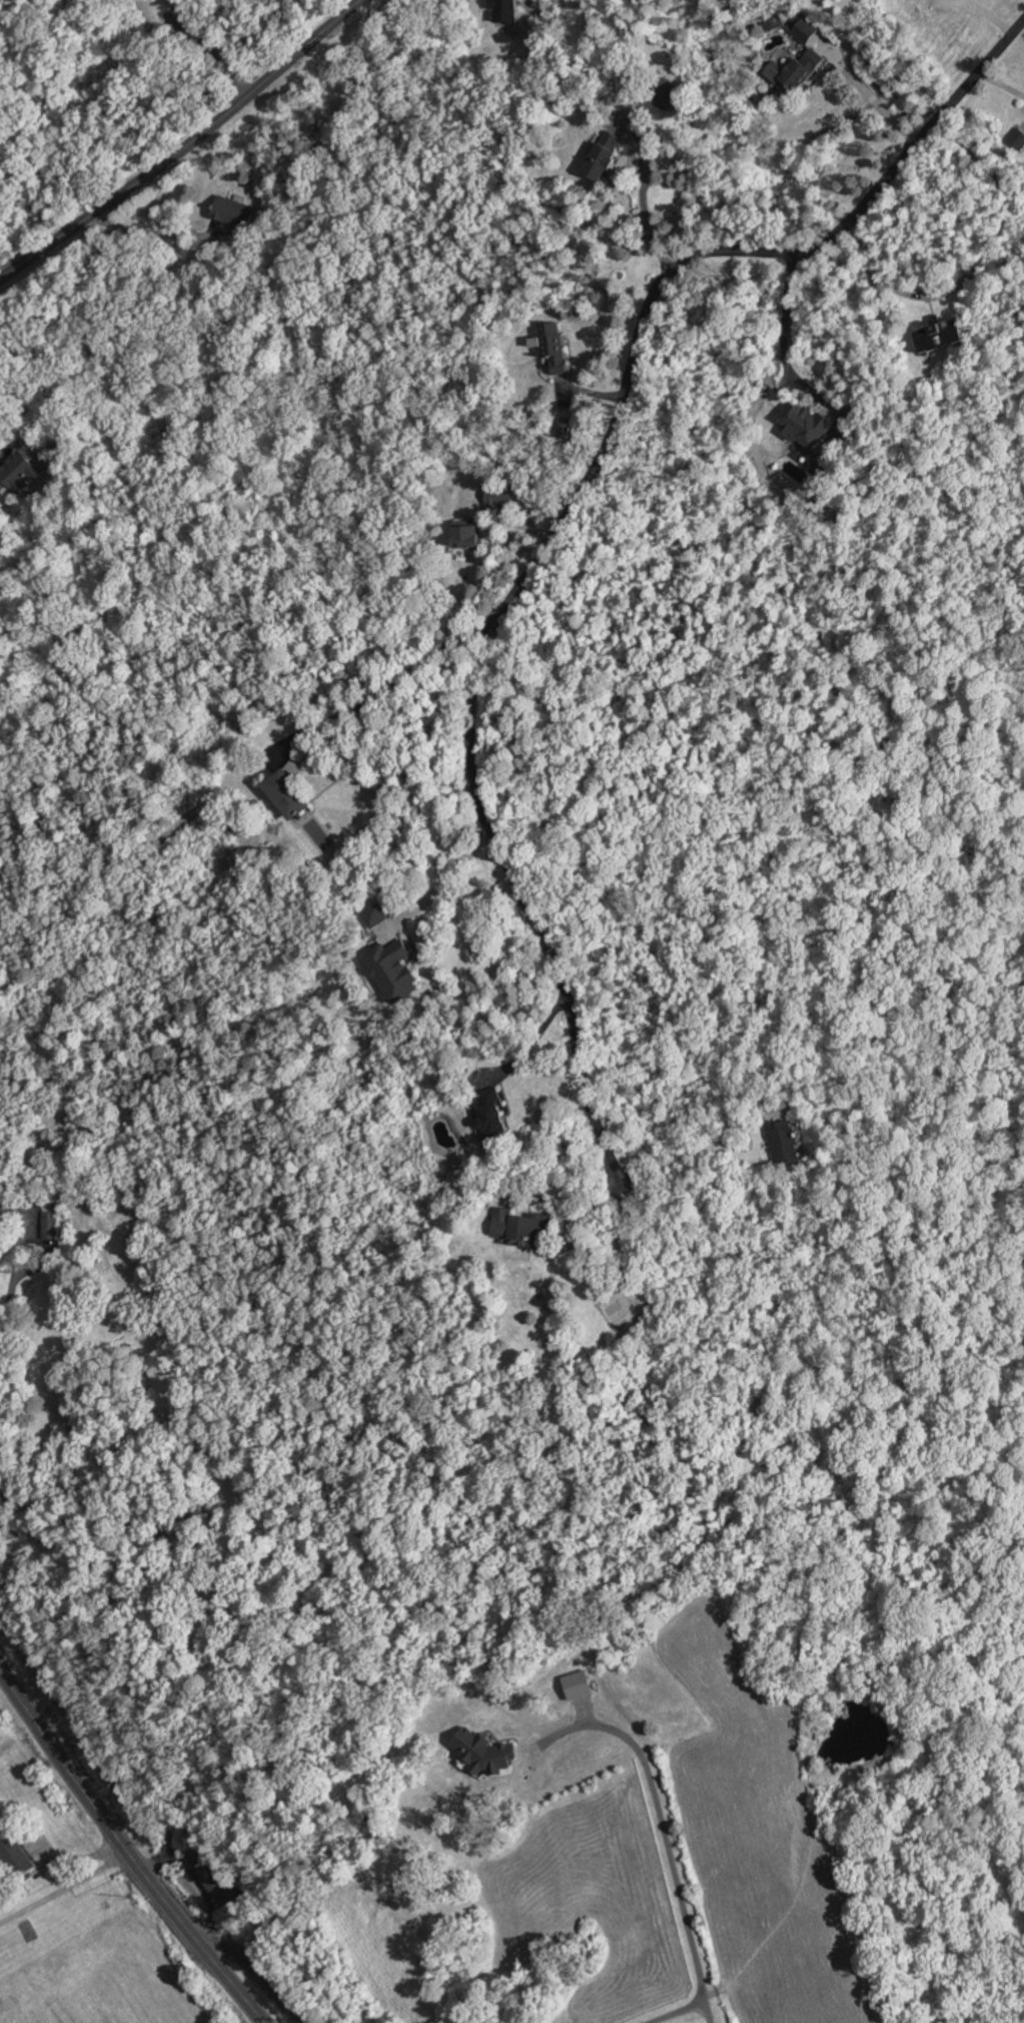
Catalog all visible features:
building: (504, 11)
building: (802, 28)
road: (210, 49)
building: (794, 72)
road: (867, 97)
building: (1017, 138)
road: (185, 148)
building: (603, 156)
road: (643, 208)
building: (233, 211)
road: (154, 230)
road: (878, 269)
road: (782, 325)
building: (942, 336)
building: (552, 346)
building: (805, 425)
building: (563, 428)
building: (19, 471)
building: (499, 494)
road: (564, 517)
building: (467, 534)
road: (394, 678)
building: (288, 792)
road: (446, 879)
building: (376, 914)
building: (394, 969)
road: (531, 1048)
building: (492, 1112)
road: (713, 1139)
building: (785, 1143)
road: (546, 1202)
building: (520, 1224)
building: (49, 1225)
road: (3, 1345)
building: (488, 1754)
road: (672, 1850)
road: (126, 1852)
building: (16, 1854)
building: (216, 1886)
road: (64, 1888)
road: (259, 1974)
road: (704, 2010)

